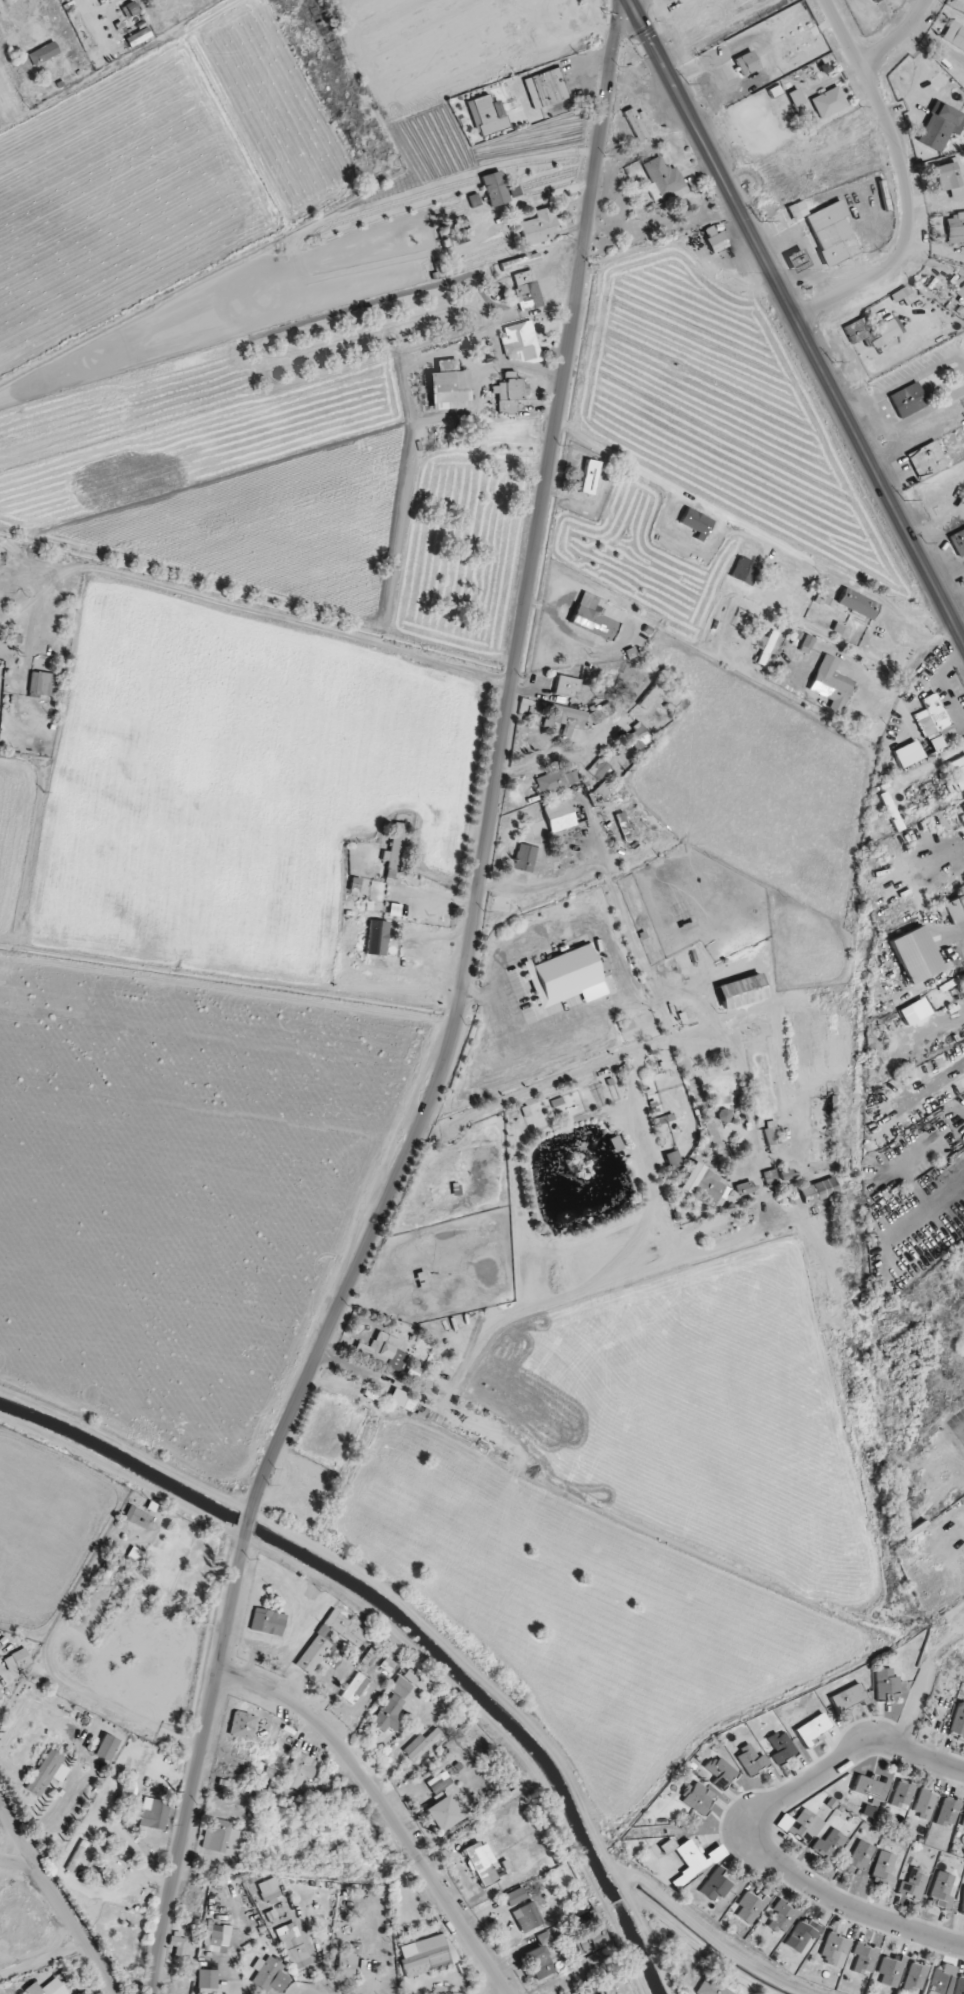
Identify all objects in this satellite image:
road: (629, 1)
building: (875, 1)
traffic signals: (630, 2)
road: (898, 36)
building: (954, 36)
building: (139, 37)
building: (43, 53)
building: (746, 63)
road: (579, 64)
building: (547, 88)
building: (795, 97)
building: (828, 102)
road: (8, 103)
building: (487, 115)
building: (637, 122)
building: (938, 127)
building: (949, 177)
building: (663, 180)
road: (905, 181)
building: (495, 188)
road: (558, 213)
building: (539, 226)
building: (955, 227)
building: (832, 233)
building: (715, 239)
building: (797, 260)
building: (520, 262)
building: (959, 288)
building: (527, 290)
building: (899, 295)
road: (798, 322)
building: (857, 330)
building: (887, 330)
building: (520, 343)
building: (449, 386)
building: (509, 393)
building: (908, 400)
building: (927, 460)
building: (589, 477)
road: (543, 496)
building: (696, 523)
road: (758, 532)
building: (957, 542)
building: (744, 571)
road: (443, 580)
building: (857, 604)
road: (247, 610)
building: (597, 619)
building: (806, 643)
road: (942, 679)
building: (830, 683)
building: (40, 684)
building: (566, 686)
building: (668, 697)
building: (601, 713)
building: (568, 718)
building: (934, 724)
building: (639, 738)
road: (956, 753)
building: (599, 768)
building: (958, 772)
building: (556, 781)
building: (963, 806)
building: (559, 816)
building: (624, 826)
building: (394, 849)
road: (943, 864)
building: (952, 907)
building: (377, 938)
building: (915, 955)
building: (603, 969)
building: (565, 975)
building: (741, 991)
building: (914, 1011)
road: (521, 1054)
building: (771, 1133)
building: (673, 1159)
building: (772, 1177)
building: (709, 1185)
building: (744, 1189)
building: (819, 1190)
road: (359, 1261)
building: (402, 1400)
building: (137, 1517)
road: (248, 1530)
building: (268, 1622)
building: (318, 1641)
building: (16, 1660)
building: (387, 1664)
building: (414, 1679)
building: (886, 1683)
building: (354, 1687)
building: (400, 1687)
building: (0, 1696)
building: (848, 1697)
building: (389, 1714)
building: (958, 1722)
building: (242, 1725)
building: (812, 1728)
building: (421, 1744)
building: (781, 1746)
building: (106, 1747)
building: (751, 1760)
road: (198, 1763)
building: (299, 1770)
building: (720, 1770)
building: (47, 1773)
building: (871, 1787)
building: (128, 1788)
building: (903, 1794)
building: (698, 1797)
building: (924, 1804)
road: (385, 1808)
building: (948, 1811)
building: (443, 1813)
building: (154, 1814)
building: (962, 1824)
road: (746, 1826)
building: (805, 1826)
building: (220, 1836)
building: (362, 1844)
building: (829, 1845)
building: (716, 1853)
road: (13, 1856)
building: (857, 1857)
building: (481, 1863)
building: (884, 1870)
building: (913, 1884)
building: (716, 1885)
building: (942, 1890)
building: (269, 1891)
building: (515, 1896)
road: (56, 1899)
building: (962, 1901)
building: (751, 1906)
building: (527, 1917)
building: (782, 1917)
building: (215, 1938)
building: (588, 1940)
building: (292, 1943)
building: (178, 1946)
building: (835, 1949)
building: (427, 1955)
building: (864, 1958)
building: (539, 1962)
building: (346, 1967)
building: (891, 1970)
building: (269, 1974)
building: (915, 1976)
building: (942, 1980)
building: (207, 1981)
road: (90, 1983)
building: (959, 1985)
building: (592, 1987)
building: (46, 1988)
building: (713, 1988)

